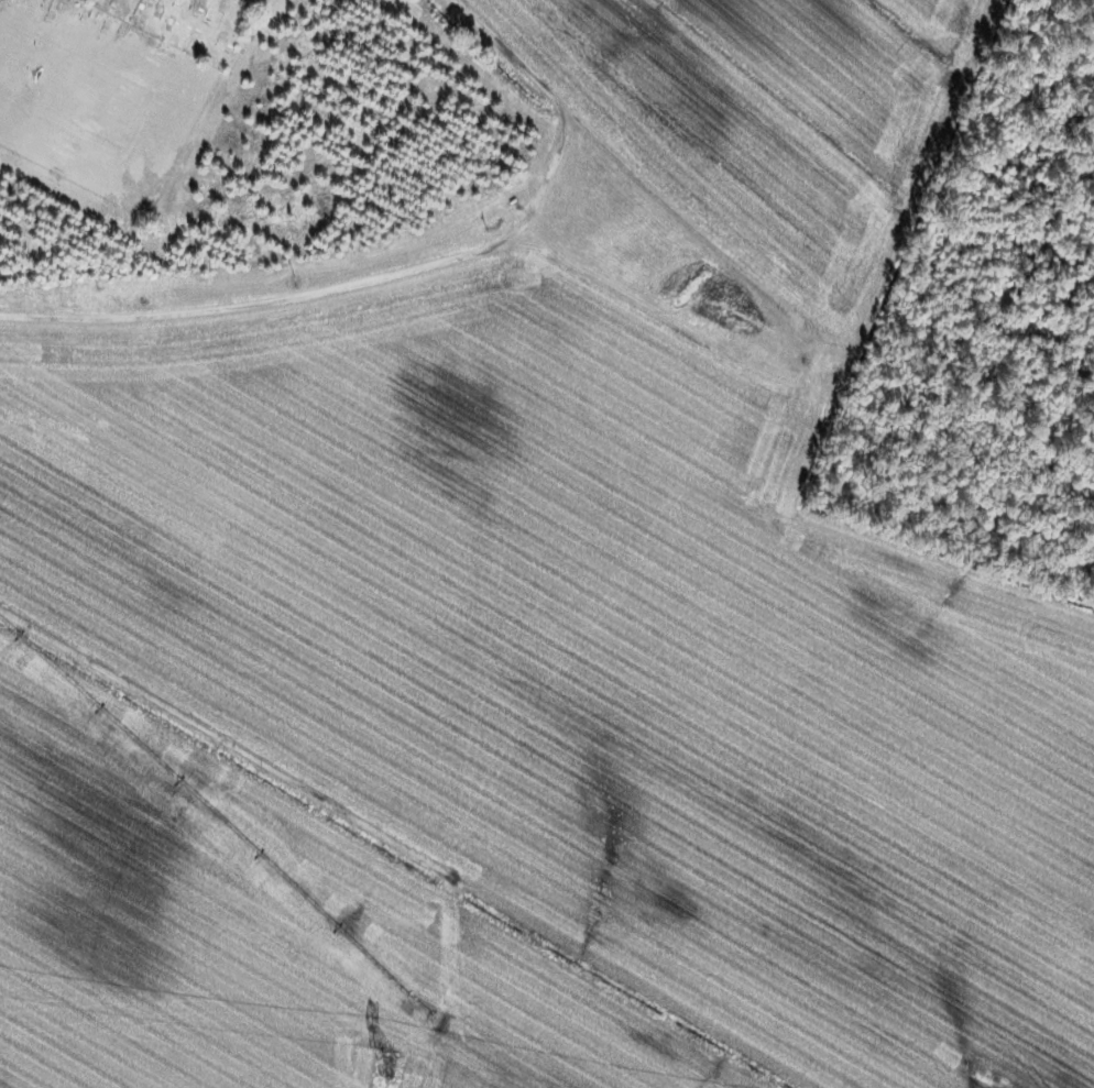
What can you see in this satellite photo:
park: (114, 86)
power tower: (385, 1069)

